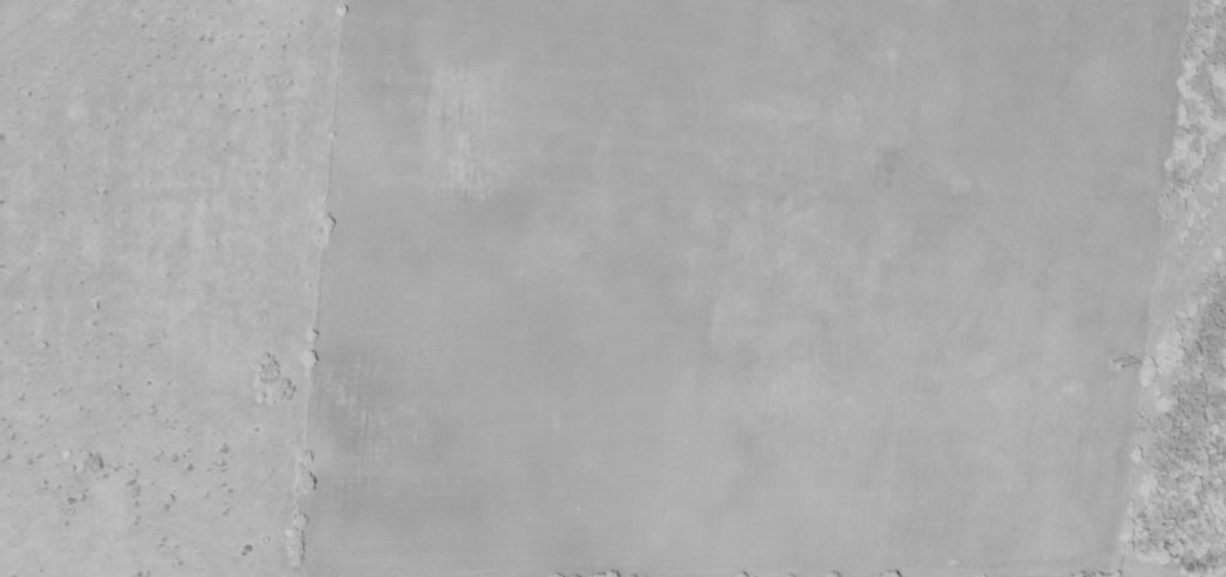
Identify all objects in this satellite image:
power tower: (1112, 364)

